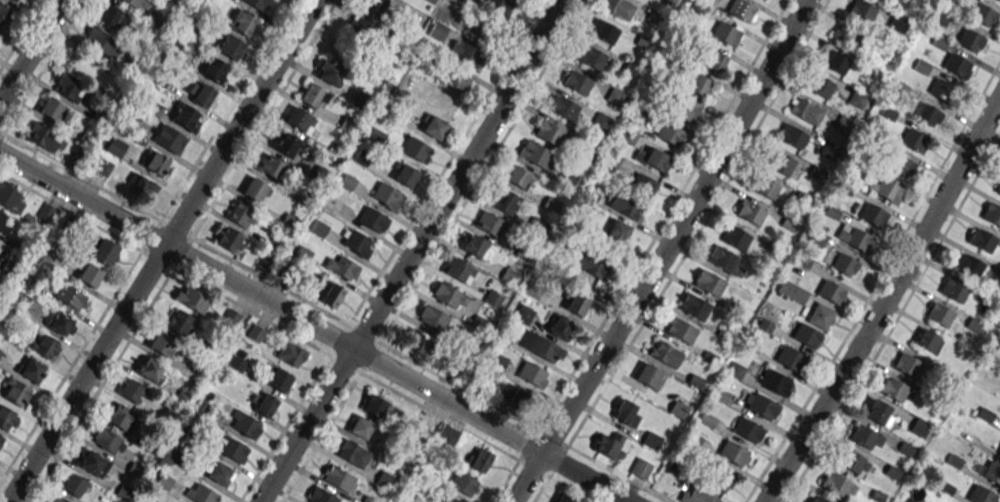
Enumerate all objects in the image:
building: (15, 0)
building: (999, 0)
building: (431, 1)
building: (136, 3)
building: (255, 3)
building: (373, 6)
building: (496, 6)
building: (619, 8)
building: (741, 10)
building: (863, 10)
building: (3, 13)
building: (940, 15)
building: (983, 15)
building: (413, 16)
building: (113, 17)
building: (243, 23)
building: (898, 24)
building: (359, 30)
building: (480, 30)
building: (438, 31)
building: (603, 31)
road: (21, 34)
building: (726, 34)
building: (847, 35)
building: (971, 41)
building: (102, 42)
building: (231, 45)
road: (30, 50)
building: (468, 55)
building: (591, 58)
building: (713, 59)
building: (834, 61)
building: (956, 65)
road: (43, 66)
building: (214, 70)
building: (330, 72)
building: (455, 80)
building: (576, 81)
building: (699, 84)
building: (819, 85)
building: (67, 88)
building: (200, 93)
road: (735, 93)
building: (314, 96)
building: (563, 107)
building: (52, 110)
road: (226, 110)
building: (686, 110)
building: (805, 112)
building: (928, 115)
building: (187, 117)
building: (300, 120)
building: (434, 127)
building: (549, 132)
building: (670, 133)
building: (38, 134)
road: (253, 135)
building: (791, 136)
building: (170, 139)
building: (914, 140)
building: (286, 143)
building: (116, 146)
building: (417, 150)
building: (534, 153)
building: (656, 159)
road: (446, 163)
building: (157, 164)
building: (783, 164)
building: (269, 166)
building: (902, 166)
building: (403, 174)
road: (79, 175)
building: (519, 177)
building: (643, 184)
building: (142, 187)
road: (471, 187)
building: (765, 187)
building: (998, 188)
building: (256, 190)
building: (887, 190)
building: (386, 195)
building: (10, 196)
building: (503, 200)
building: (625, 205)
building: (46, 212)
building: (749, 212)
building: (991, 213)
building: (242, 215)
building: (873, 215)
building: (373, 218)
building: (5, 224)
building: (488, 224)
road: (700, 224)
building: (617, 232)
building: (735, 237)
building: (855, 238)
building: (231, 240)
building: (982, 240)
building: (357, 243)
building: (474, 246)
building: (104, 251)
road: (161, 251)
road: (412, 252)
road: (662, 253)
building: (722, 259)
building: (844, 264)
building: (968, 264)
building: (590, 265)
building: (9, 268)
building: (342, 268)
building: (459, 270)
building: (89, 275)
road: (875, 282)
building: (709, 283)
building: (954, 289)
building: (792, 291)
building: (830, 292)
building: (331, 294)
building: (449, 296)
building: (70, 297)
building: (192, 299)
road: (884, 300)
building: (575, 304)
building: (695, 307)
road: (610, 308)
building: (523, 313)
building: (939, 314)
building: (820, 316)
building: (231, 317)
building: (434, 318)
road: (896, 319)
building: (178, 321)
building: (62, 324)
building: (559, 326)
road: (313, 328)
building: (681, 331)
building: (255, 333)
building: (806, 335)
building: (926, 339)
road: (378, 341)
building: (420, 344)
building: (162, 345)
building: (44, 346)
building: (542, 347)
road: (79, 350)
building: (290, 353)
building: (666, 354)
building: (789, 358)
building: (907, 364)
building: (150, 369)
building: (32, 370)
building: (532, 374)
building: (649, 375)
building: (279, 379)
building: (774, 381)
building: (893, 389)
building: (132, 390)
building: (15, 391)
building: (518, 401)
building: (265, 405)
building: (375, 406)
building: (761, 407)
building: (627, 412)
building: (879, 413)
building: (120, 416)
building: (7, 419)
building: (421, 419)
building: (245, 424)
building: (361, 427)
building: (746, 429)
building: (446, 435)
building: (865, 436)
building: (1, 439)
building: (108, 440)
building: (609, 445)
building: (232, 449)
building: (998, 451)
building: (732, 452)
building: (353, 454)
building: (480, 460)
building: (852, 461)
building: (93, 463)
building: (640, 468)
building: (991, 472)
building: (219, 473)
road: (618, 473)
building: (716, 477)
building: (338, 479)
road: (558, 481)
building: (462, 483)
building: (73, 485)
building: (837, 485)
building: (202, 494)
building: (981, 494)
building: (697, 495)
building: (324, 497)
building: (565, 498)
building: (57, 499)
building: (447, 499)
building: (817, 499)

